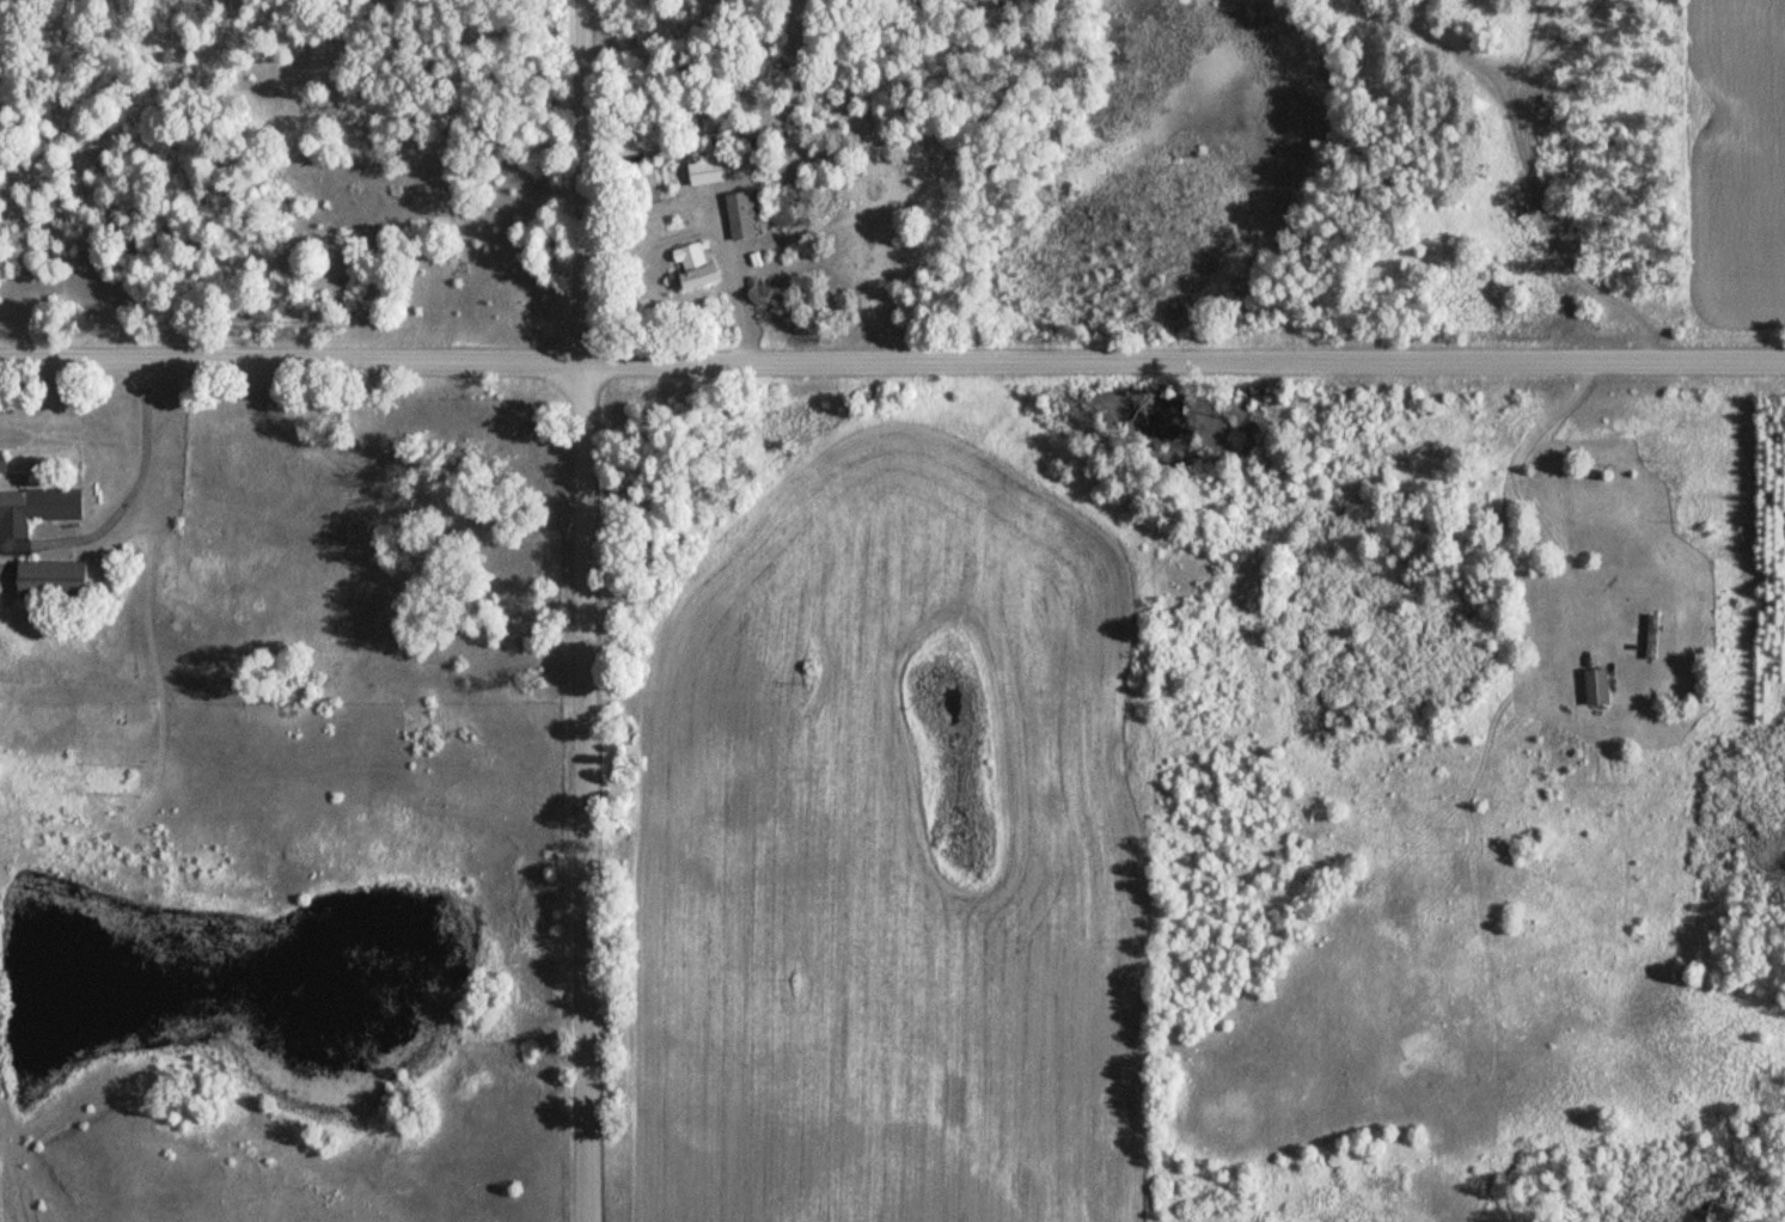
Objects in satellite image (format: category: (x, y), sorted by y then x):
building: (710, 163)
building: (746, 214)
building: (692, 256)
road: (892, 389)
building: (6, 464)
building: (39, 509)
building: (57, 579)
road: (583, 611)
building: (1601, 685)

